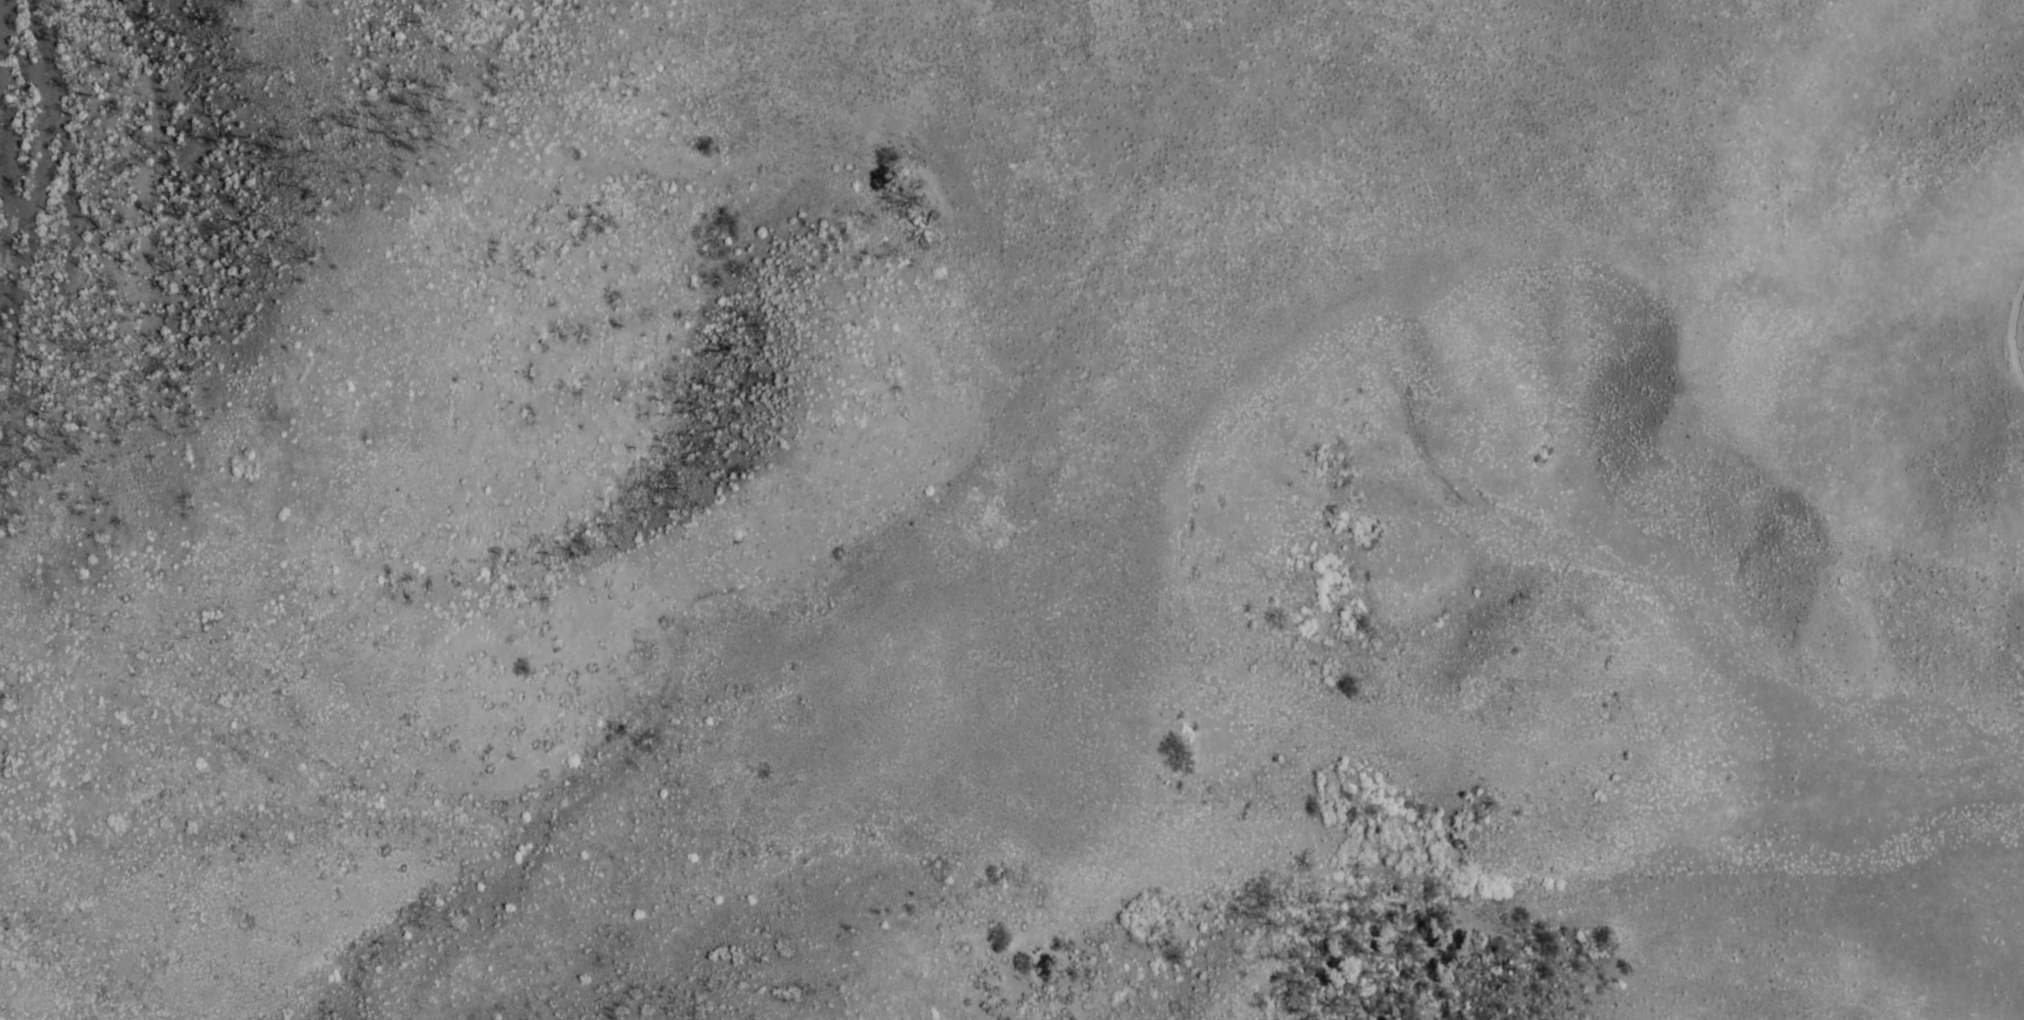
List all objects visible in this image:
road: (2013, 332)

